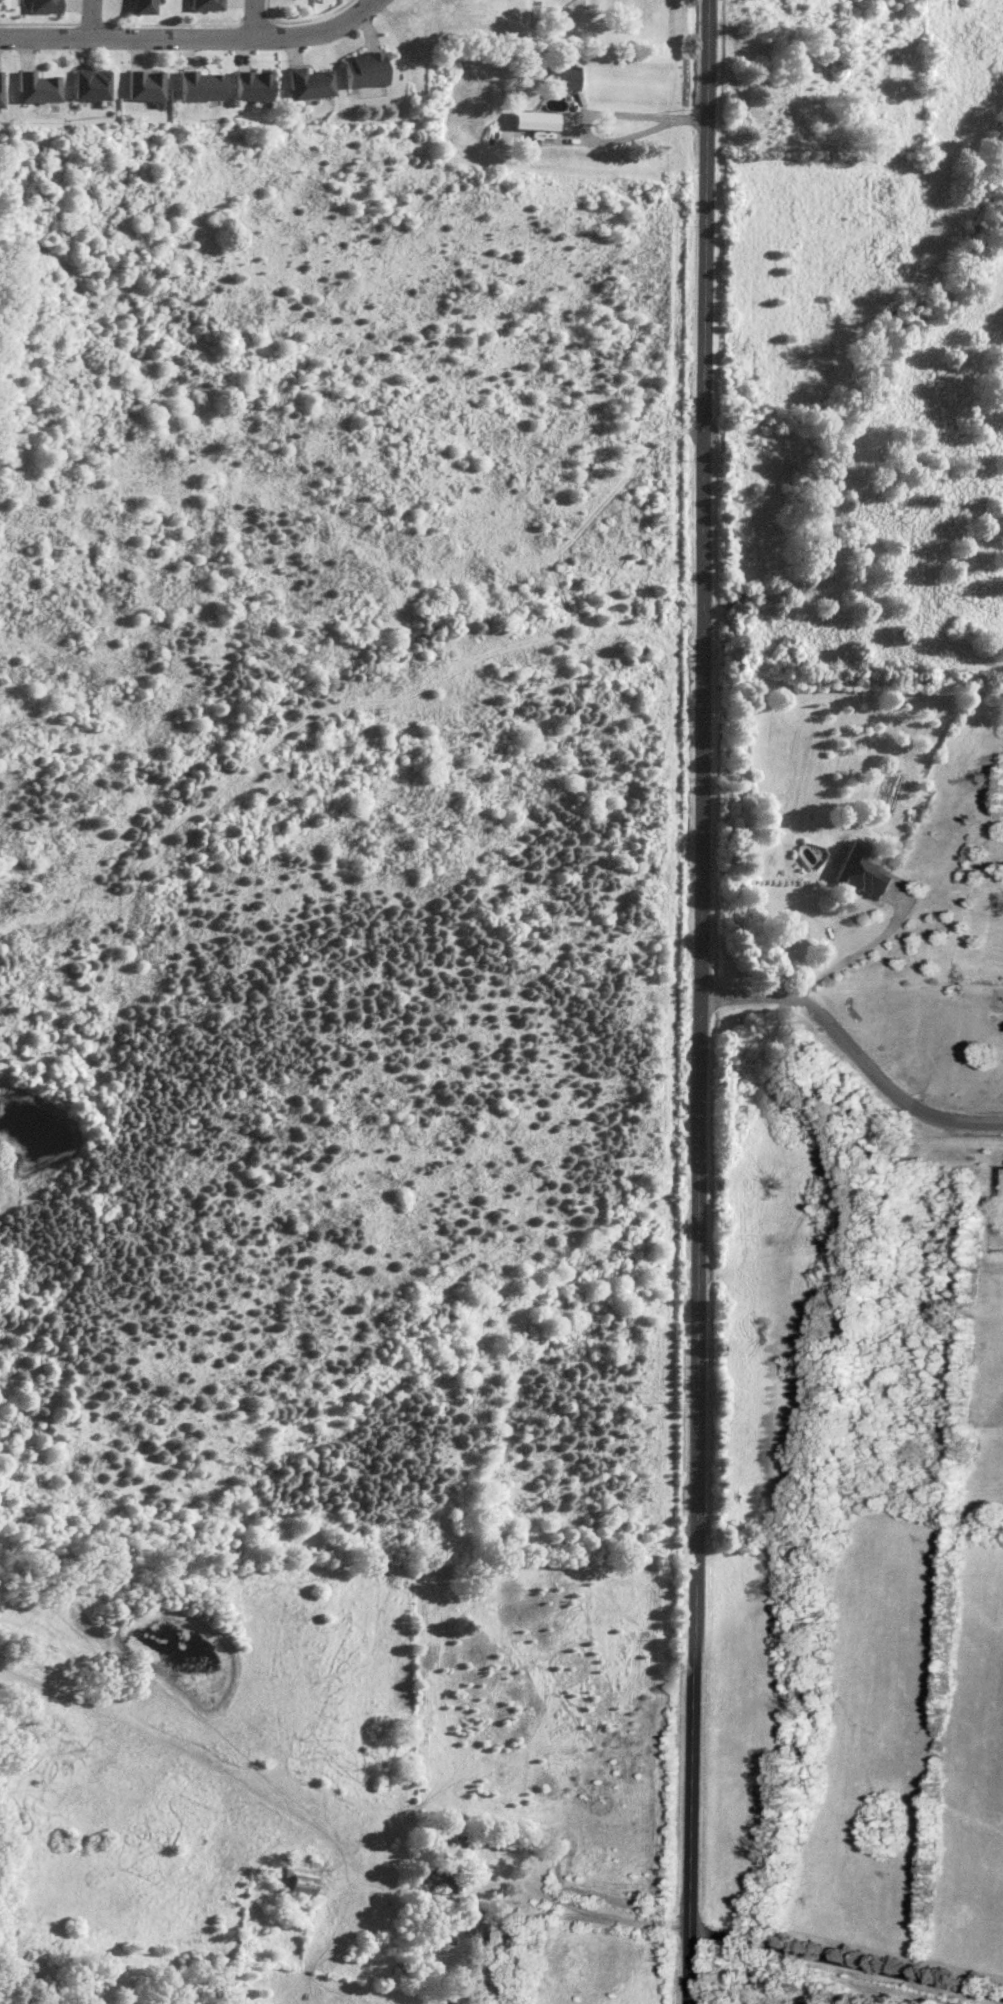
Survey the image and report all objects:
building: (212, 5)
building: (51, 6)
building: (148, 7)
road: (254, 18)
road: (92, 19)
road: (195, 37)
building: (367, 70)
building: (567, 77)
building: (314, 84)
building: (97, 85)
building: (152, 86)
building: (206, 86)
building: (259, 86)
building: (44, 88)
building: (3, 90)
building: (540, 121)
road: (626, 139)
road: (703, 336)
building: (870, 872)
road: (860, 961)
road: (854, 1053)
road: (699, 1339)
building: (486, 1934)
road: (743, 1948)

